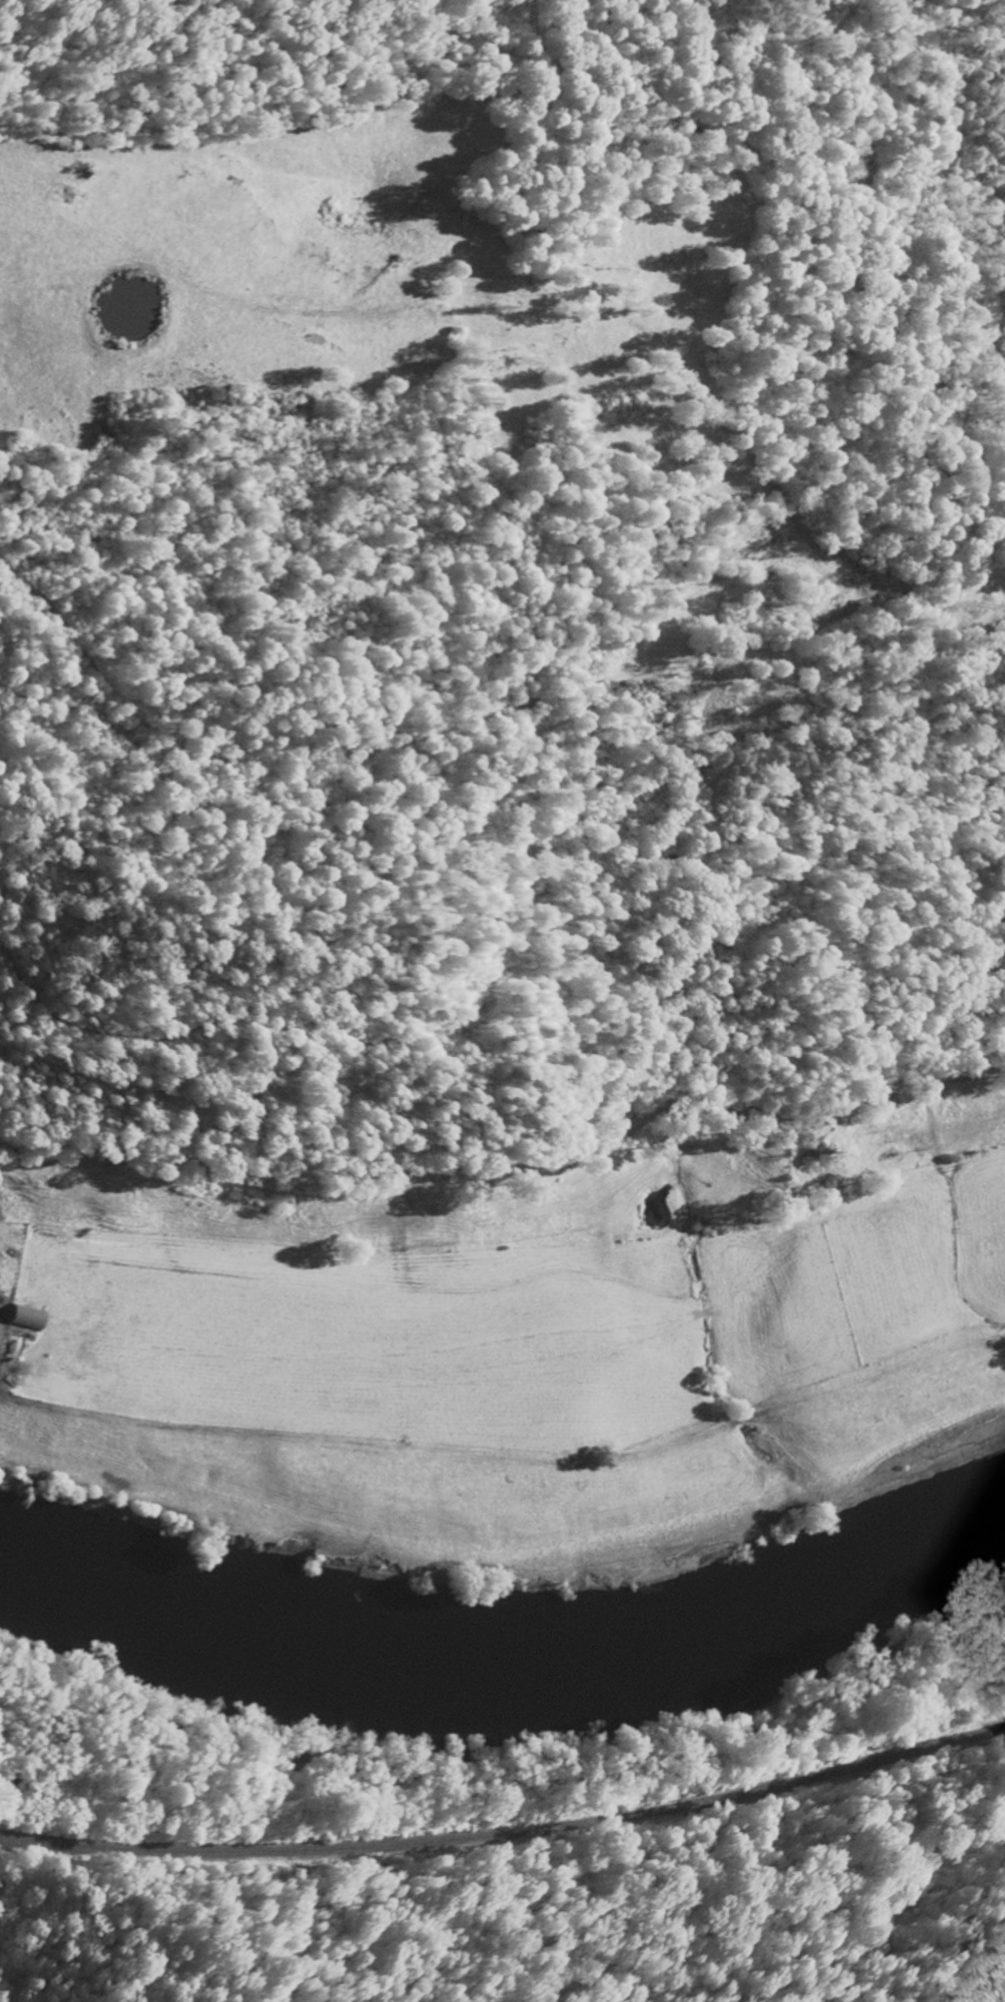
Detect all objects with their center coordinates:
road: (520, 1167)
building: (26, 1317)
river: (504, 1658)
railway: (506, 1831)

